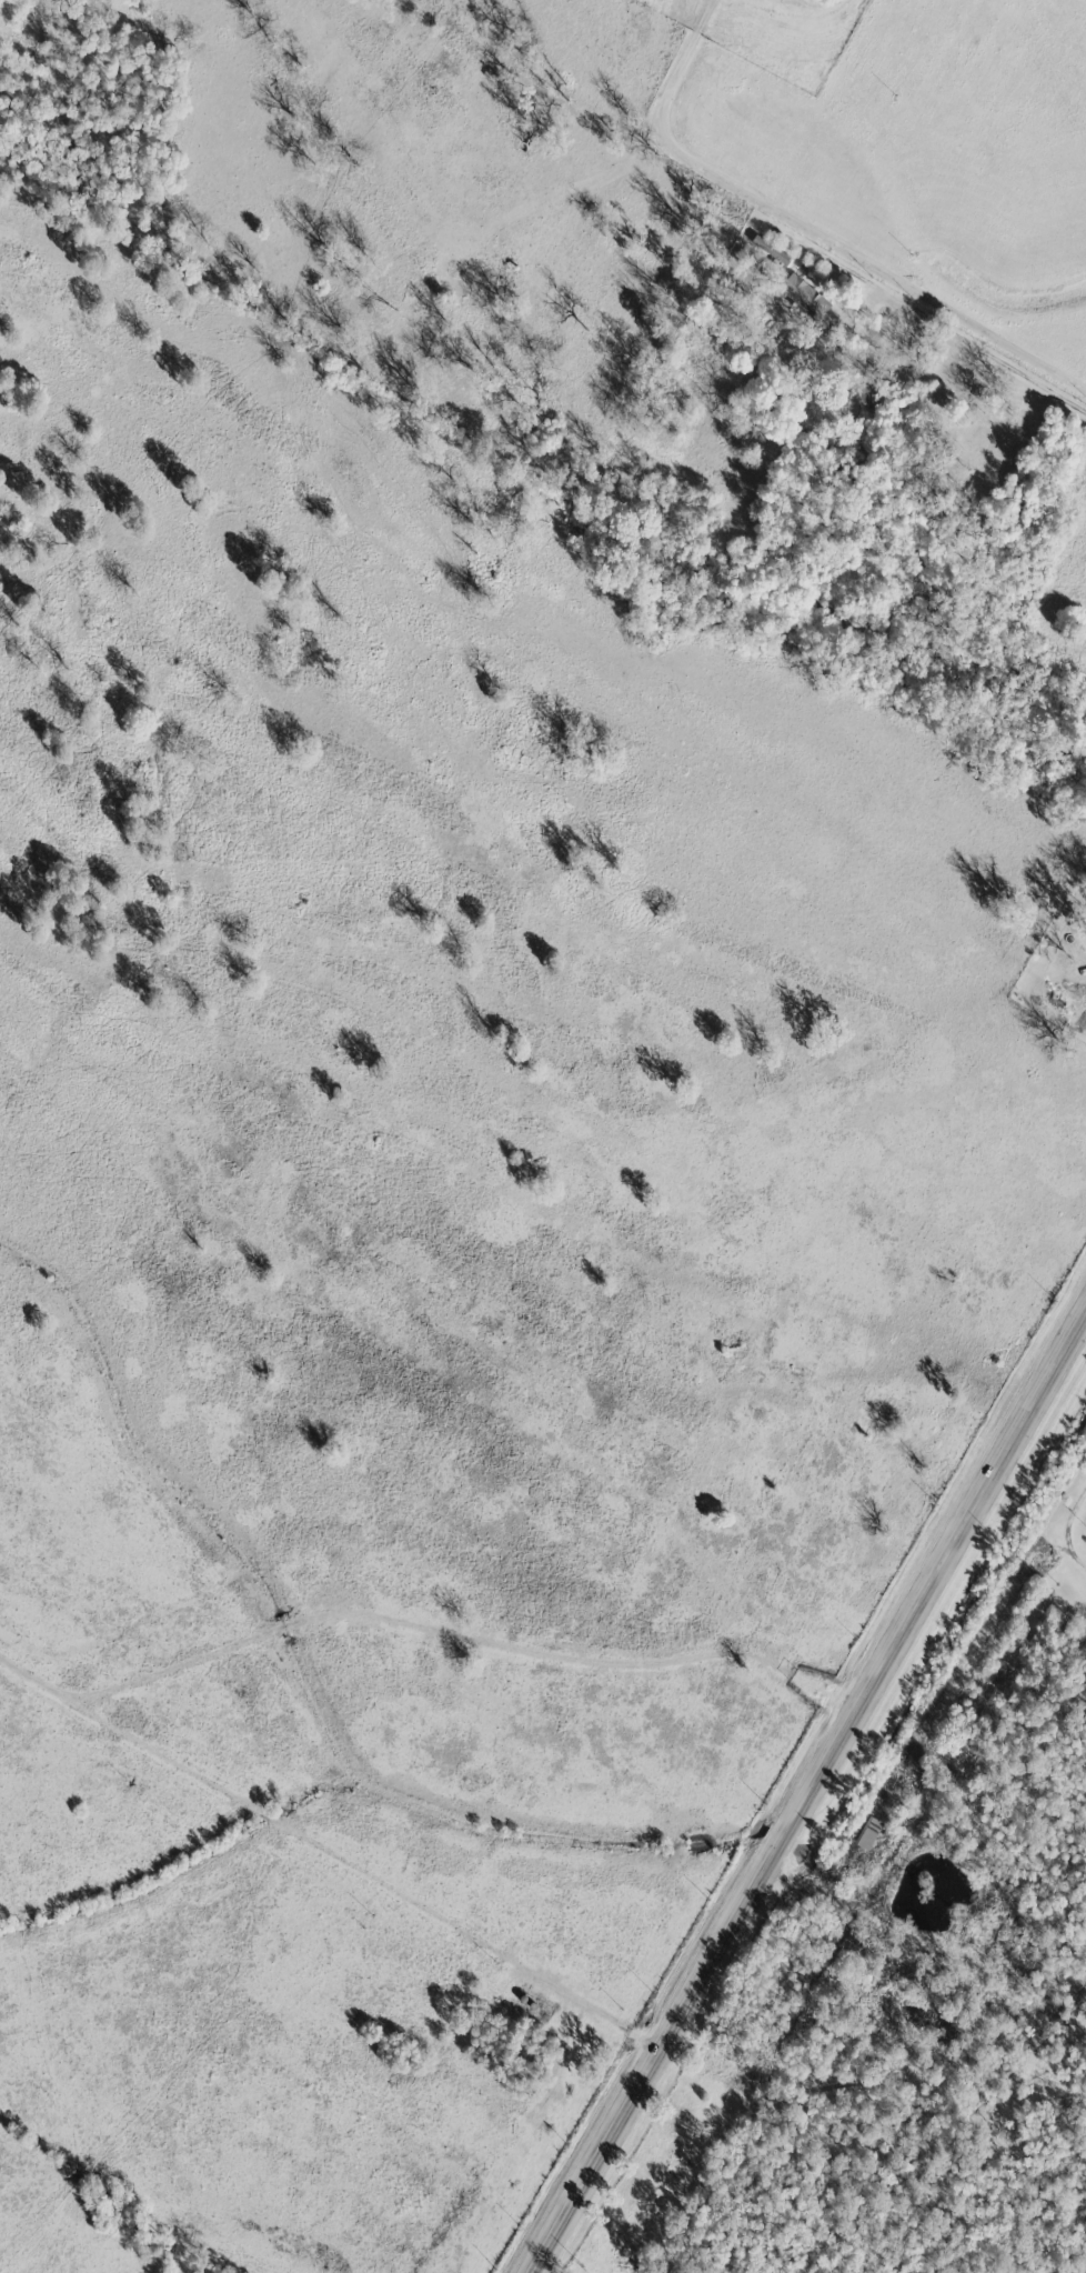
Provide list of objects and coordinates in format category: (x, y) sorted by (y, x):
road: (806, 231)
building: (803, 294)
road: (933, 1721)
building: (913, 1758)
road: (808, 1795)
building: (868, 1833)
road: (334, 1848)

